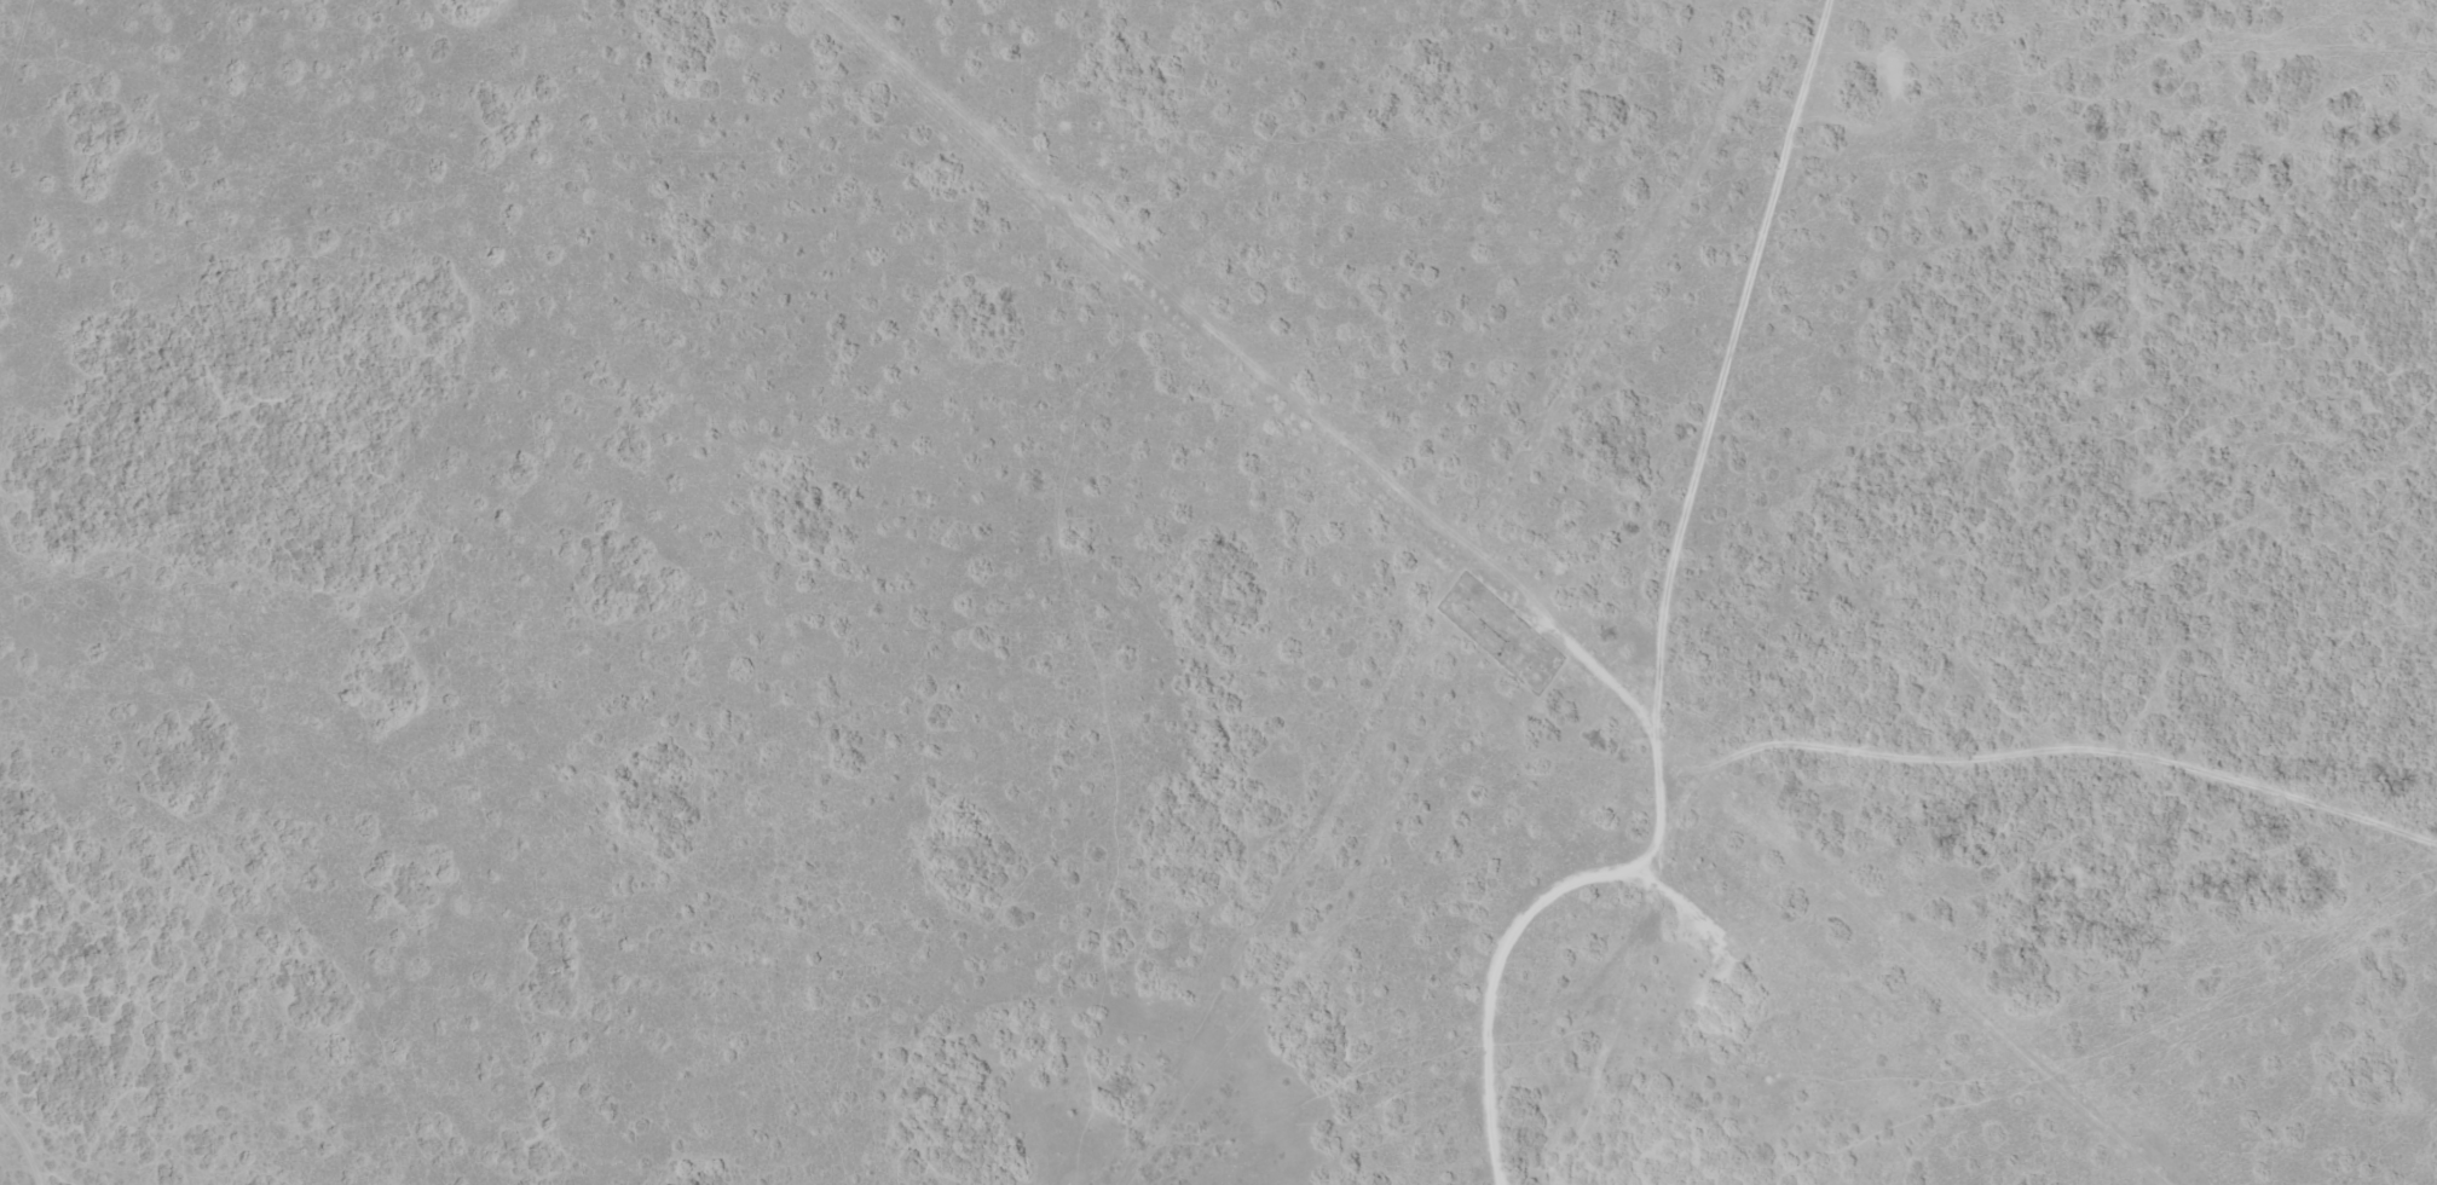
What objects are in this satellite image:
road: (1508, 965)

